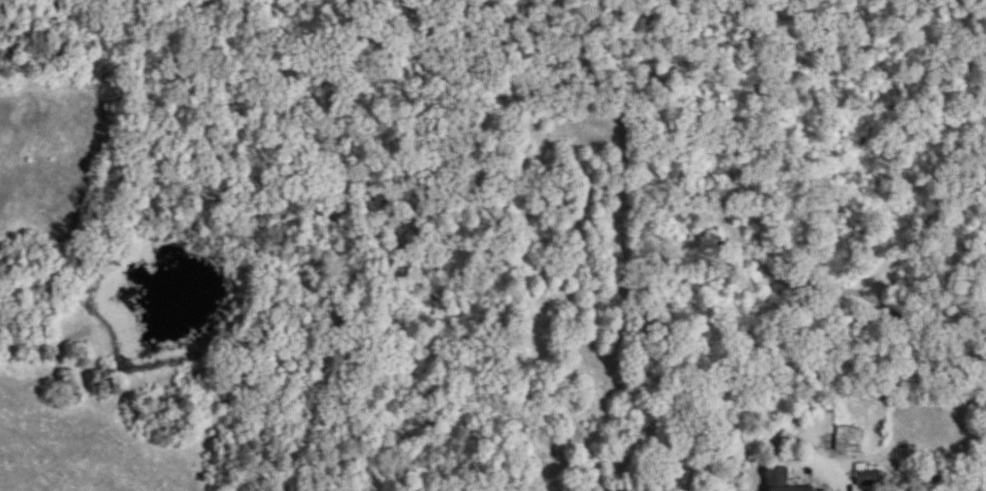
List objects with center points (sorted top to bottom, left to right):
building: (848, 437)
building: (776, 479)

